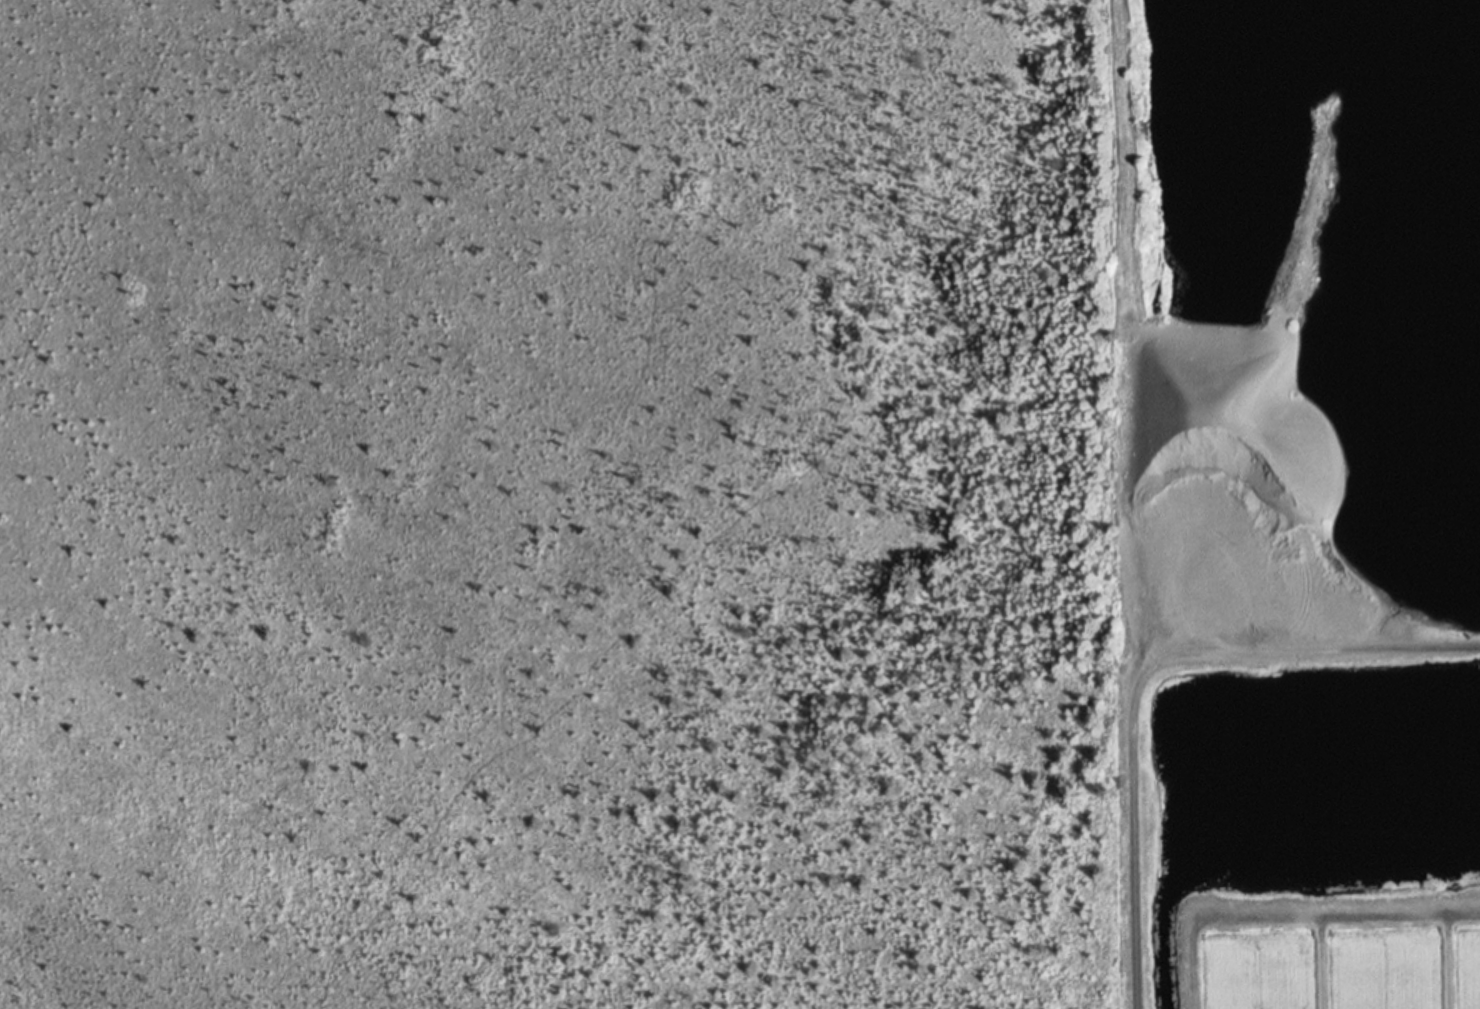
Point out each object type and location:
crop: (1294, 954)

